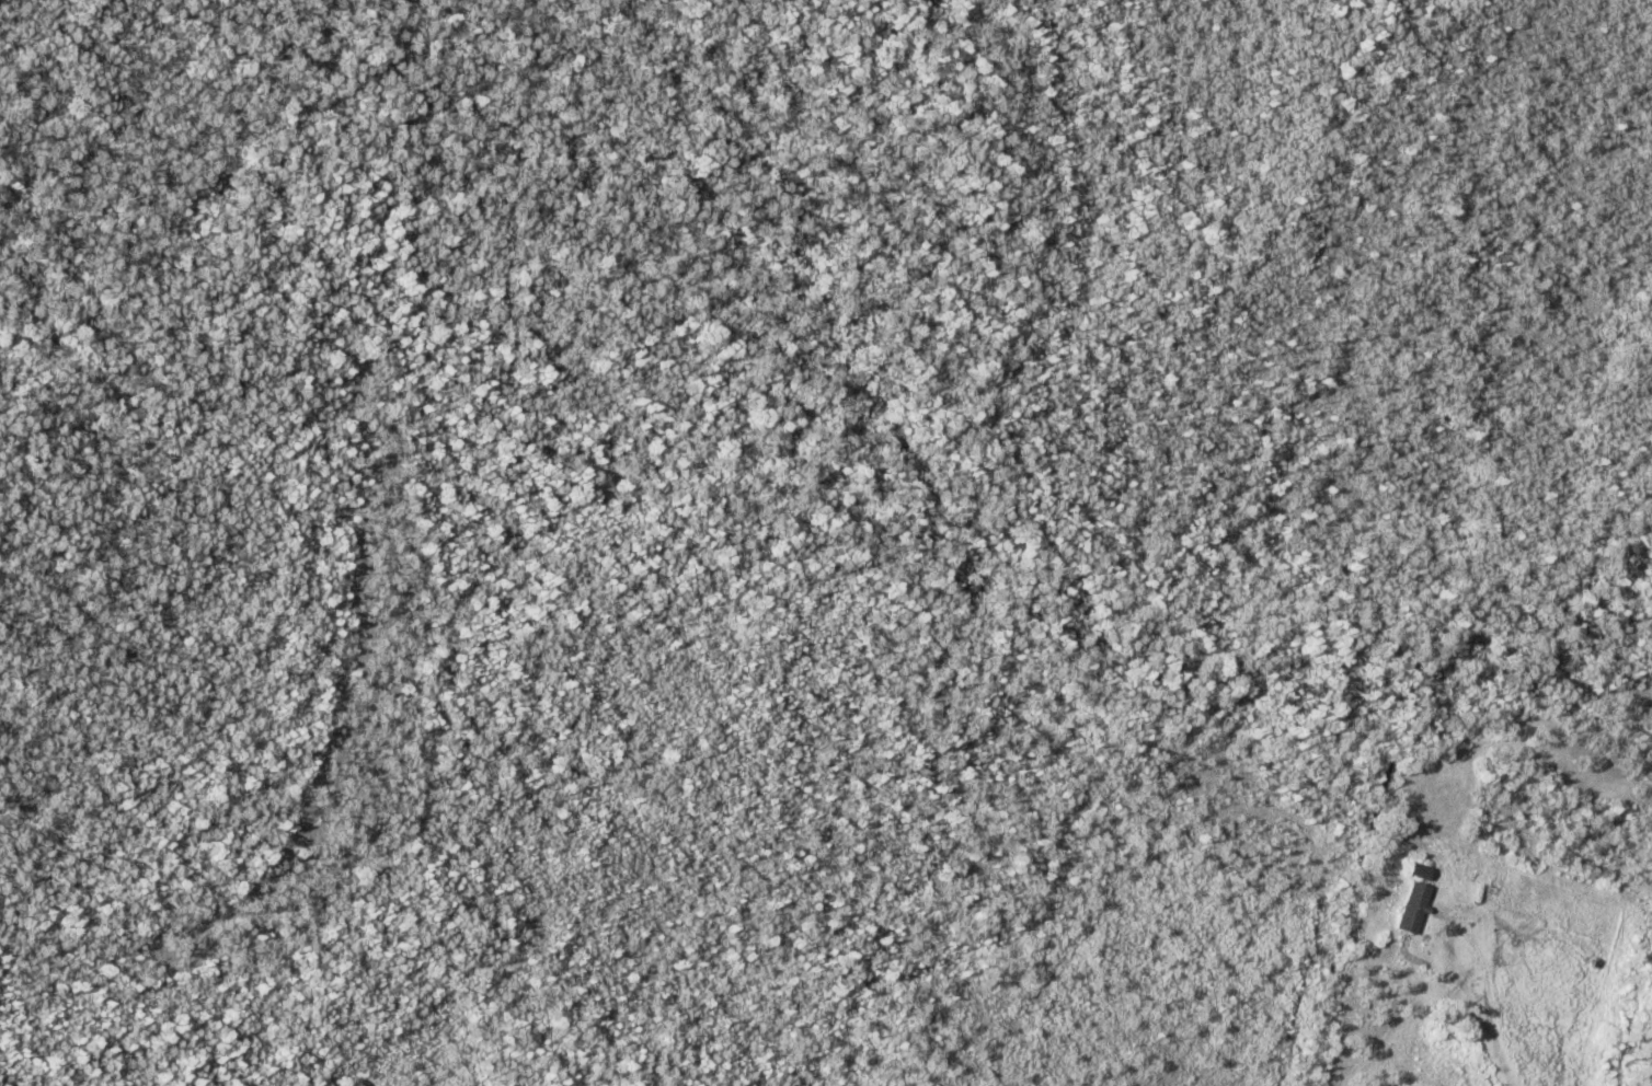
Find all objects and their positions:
building: (1411, 908)

